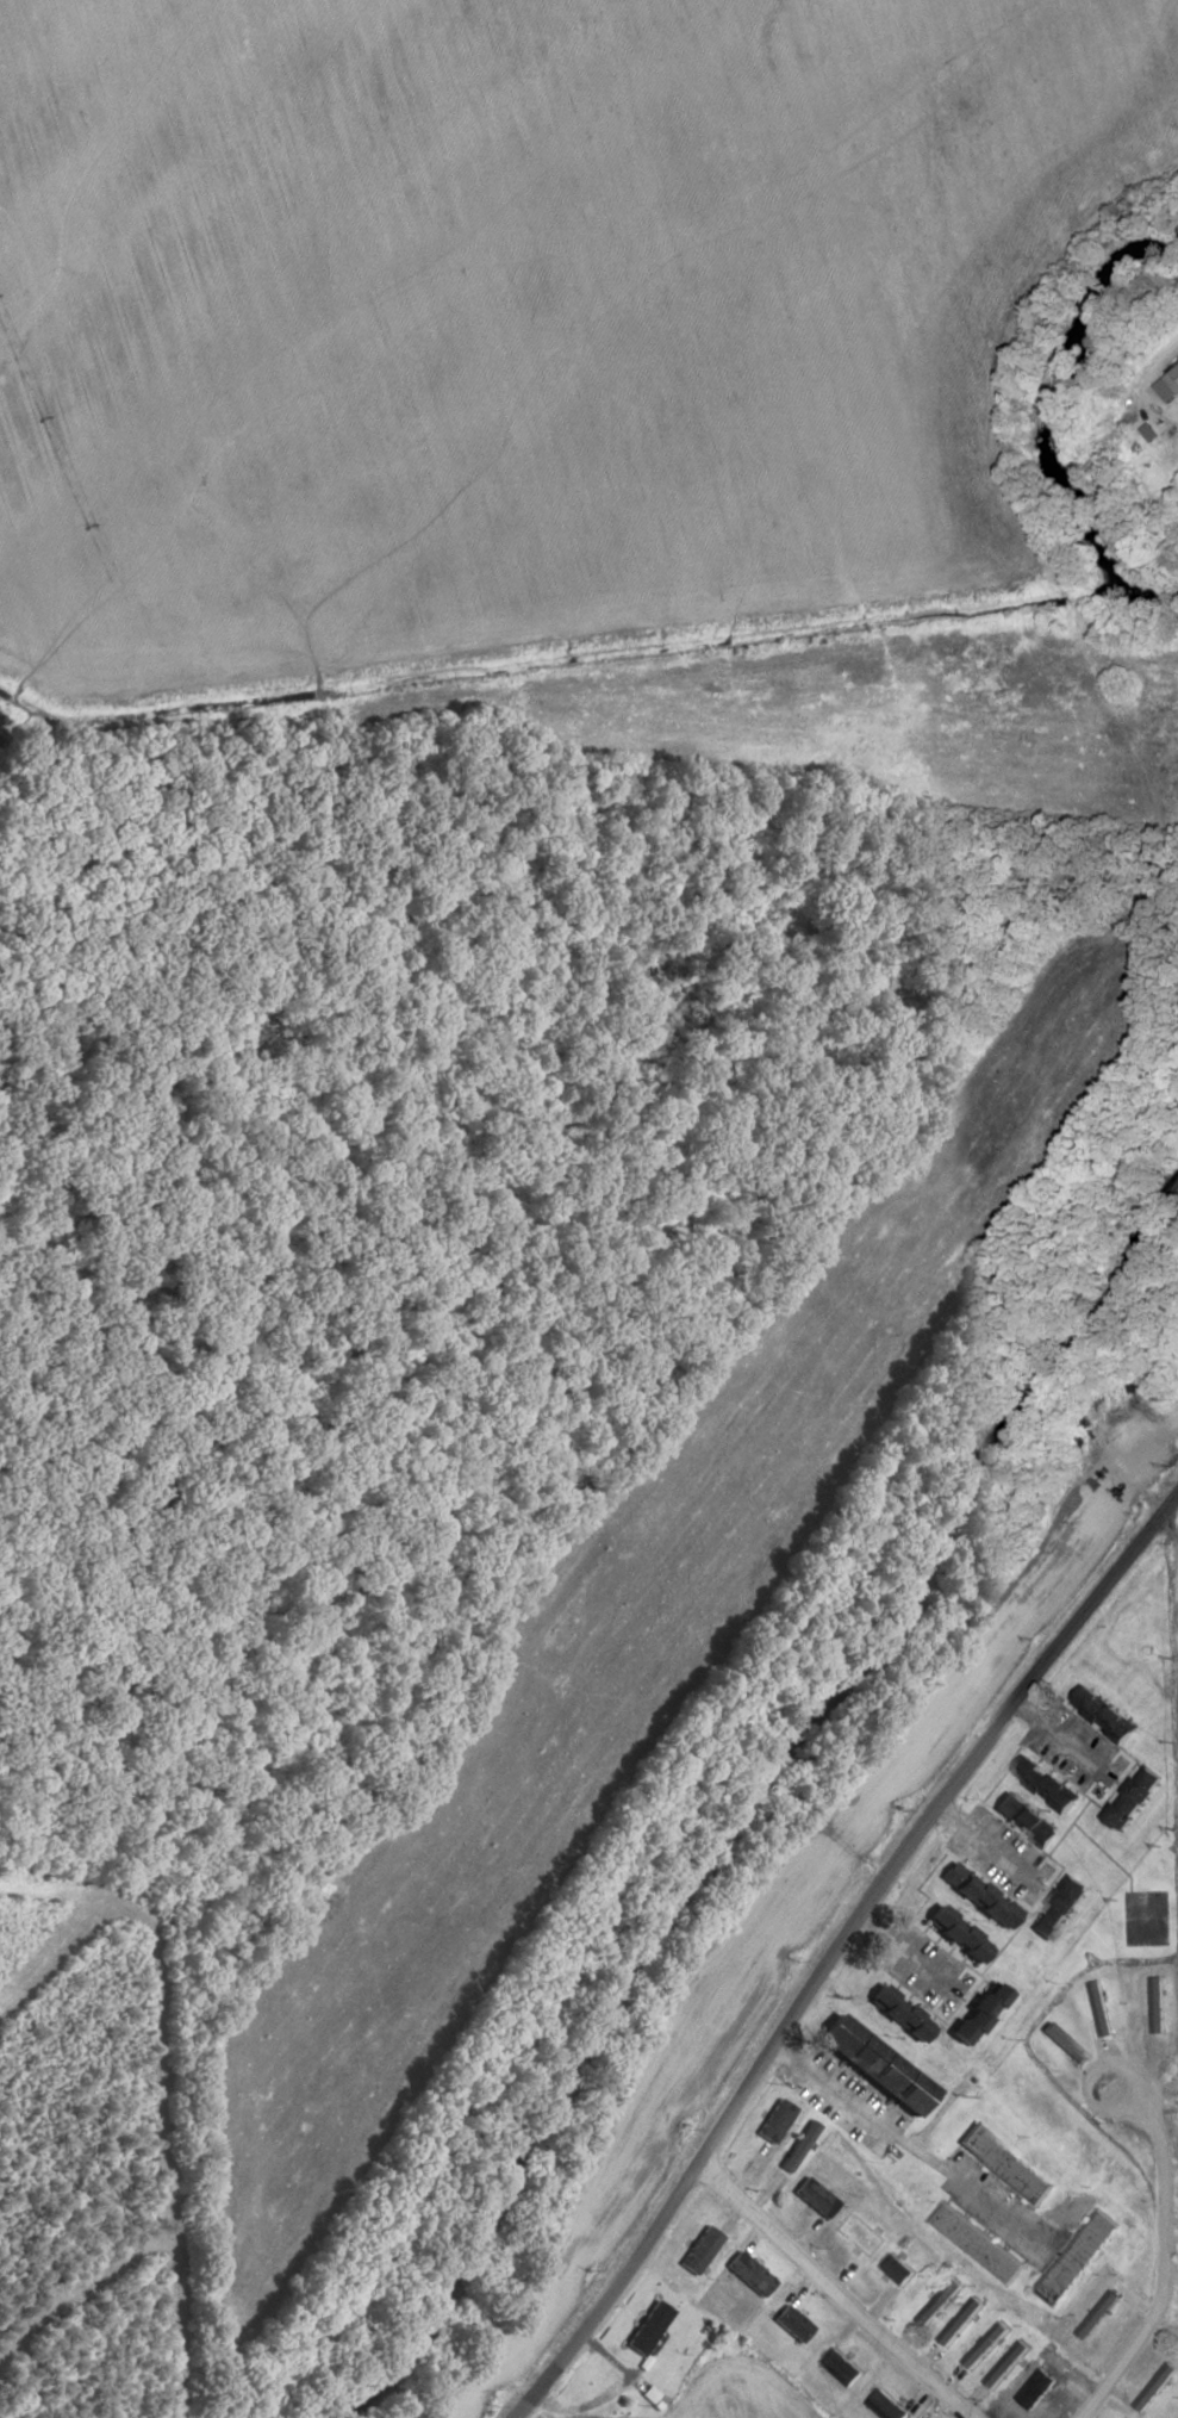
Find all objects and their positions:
building: (1173, 377)
building: (1103, 1711)
building: (1045, 1782)
building: (1133, 1796)
building: (1023, 1817)
building: (976, 1894)
building: (1057, 1907)
building: (954, 1932)
road: (831, 1945)
building: (1157, 2003)
building: (1101, 2008)
building: (896, 2012)
building: (974, 2013)
building: (1062, 2044)
building: (872, 2064)
building: (773, 2119)
building: (797, 2145)
road: (908, 2150)
building: (1003, 2163)
building: (814, 2196)
building: (974, 2243)
building: (699, 2249)
road: (1164, 2252)
building: (1076, 2257)
building: (896, 2268)
building: (748, 2274)
road: (833, 2289)
building: (939, 2302)
building: (1097, 2314)
building: (960, 2321)
building: (791, 2323)
building: (647, 2327)
building: (985, 2345)
building: (1005, 2364)
building: (840, 2367)
building: (1154, 2386)
building: (1034, 2388)
building: (885, 2405)

